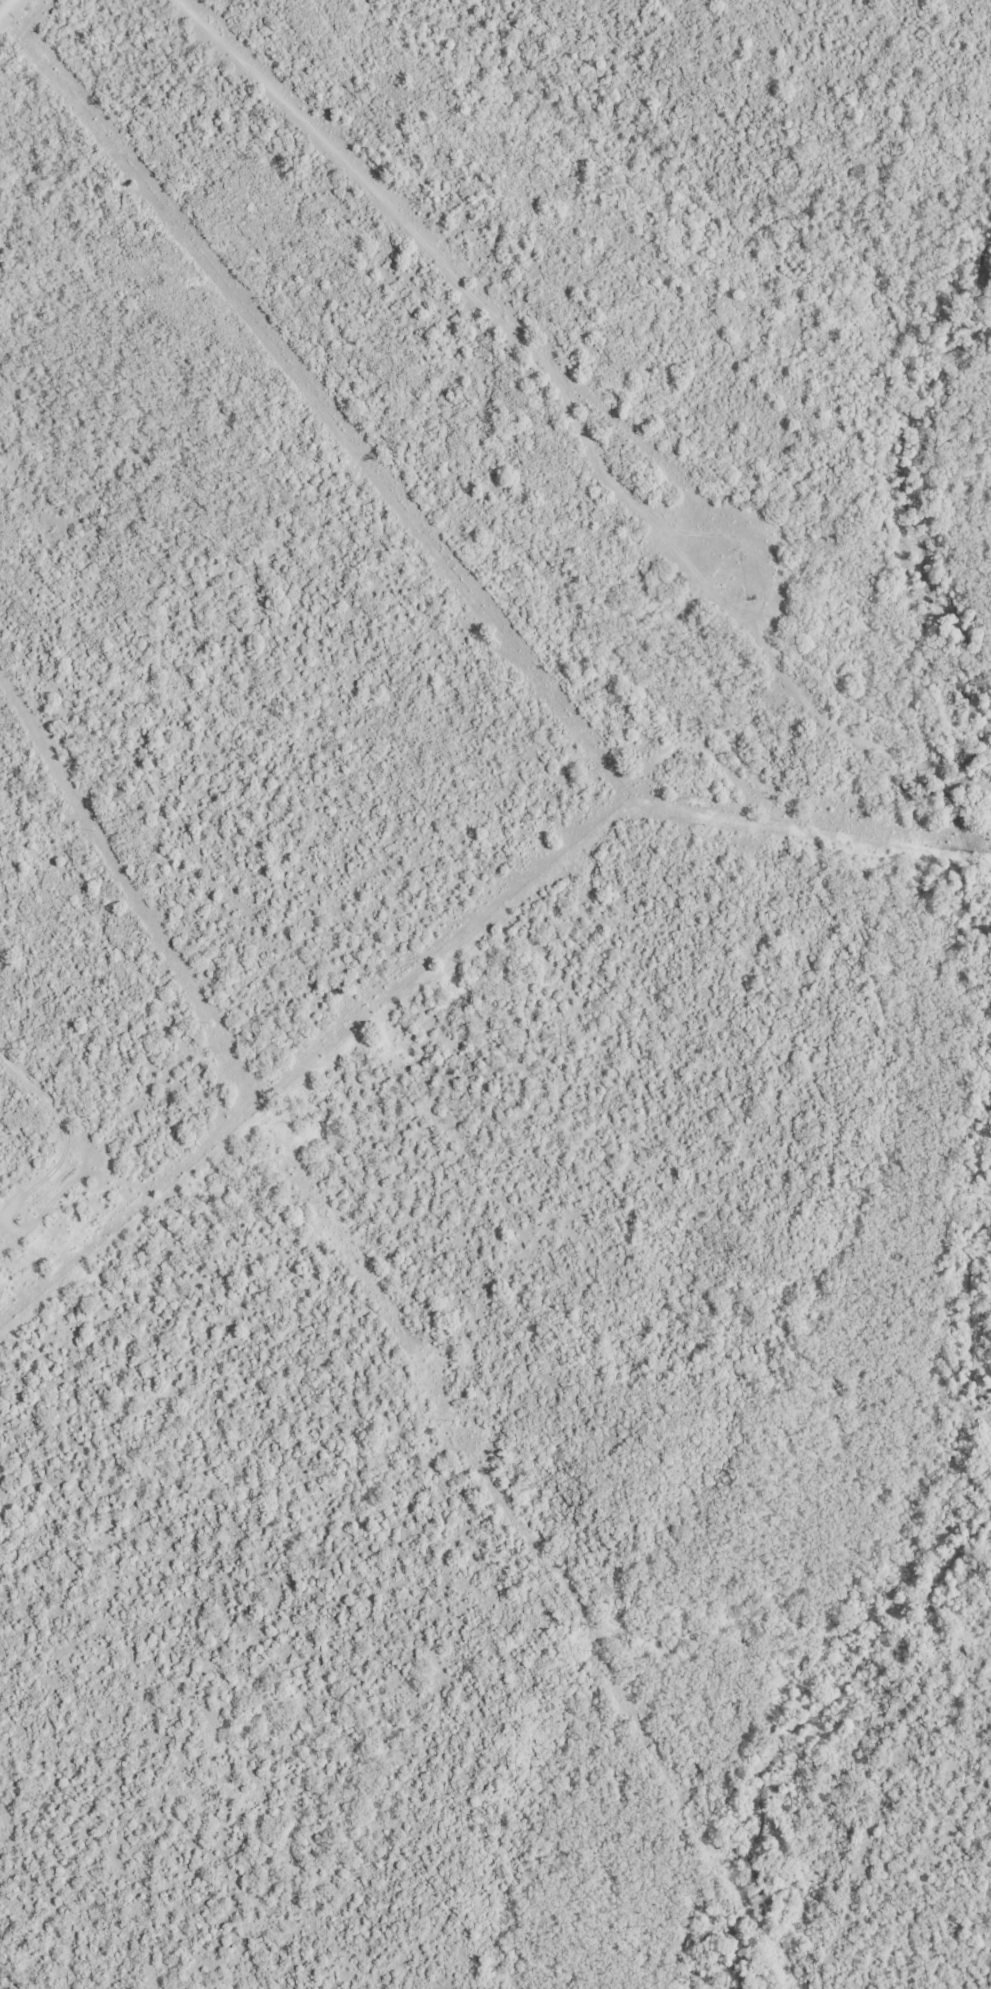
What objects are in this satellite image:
road: (8, 9)
road: (572, 418)

